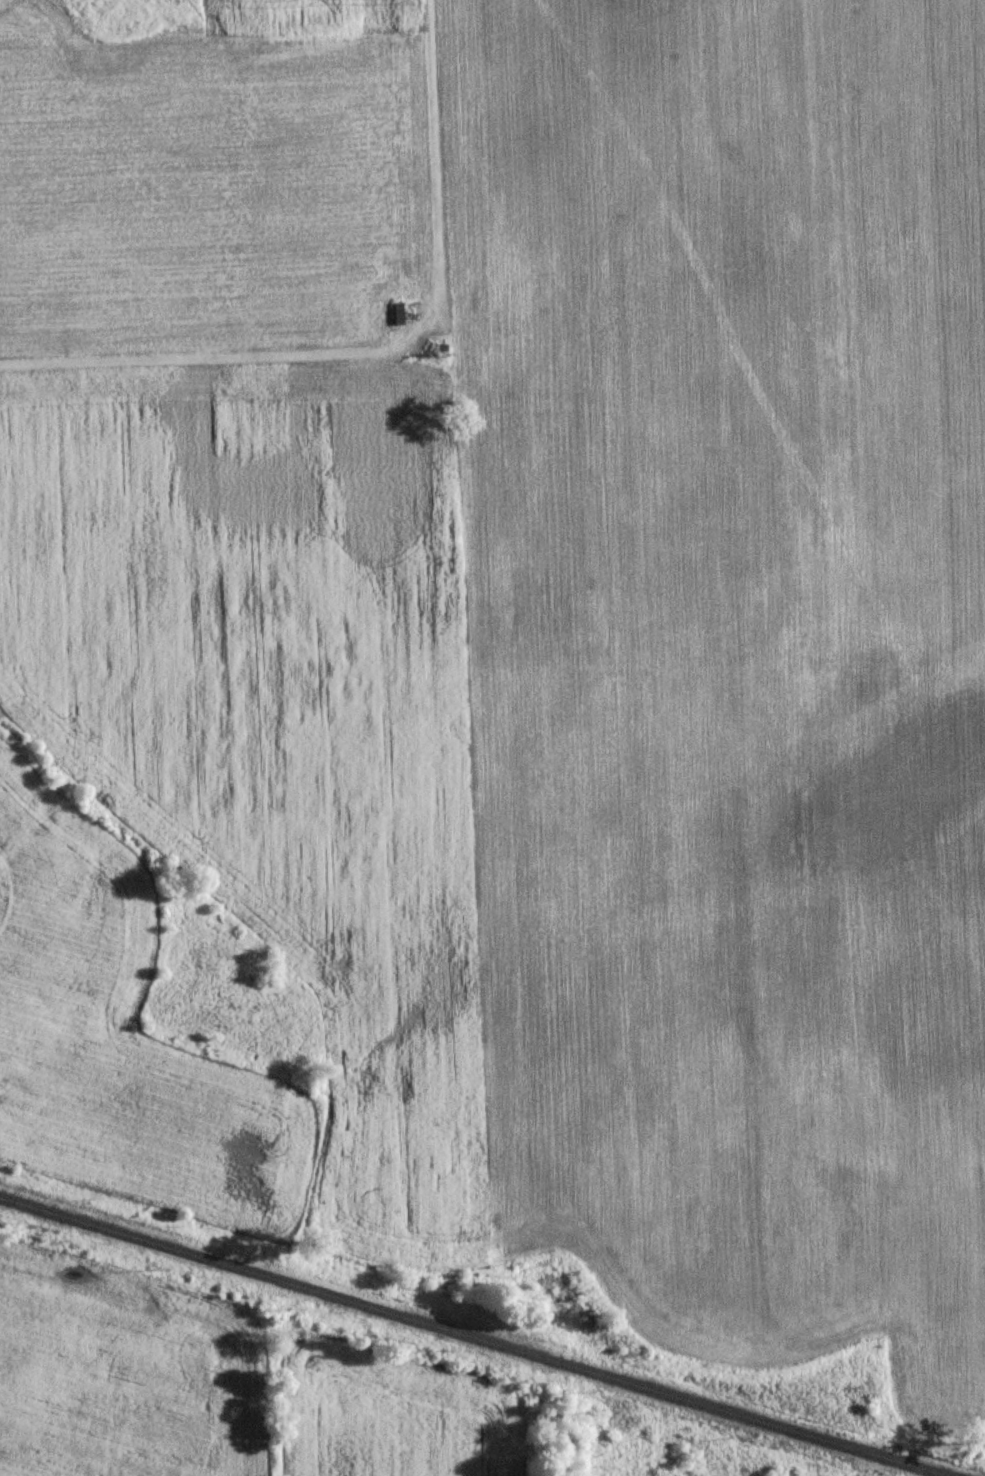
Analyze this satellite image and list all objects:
building: (395, 313)
railway: (478, 1336)

